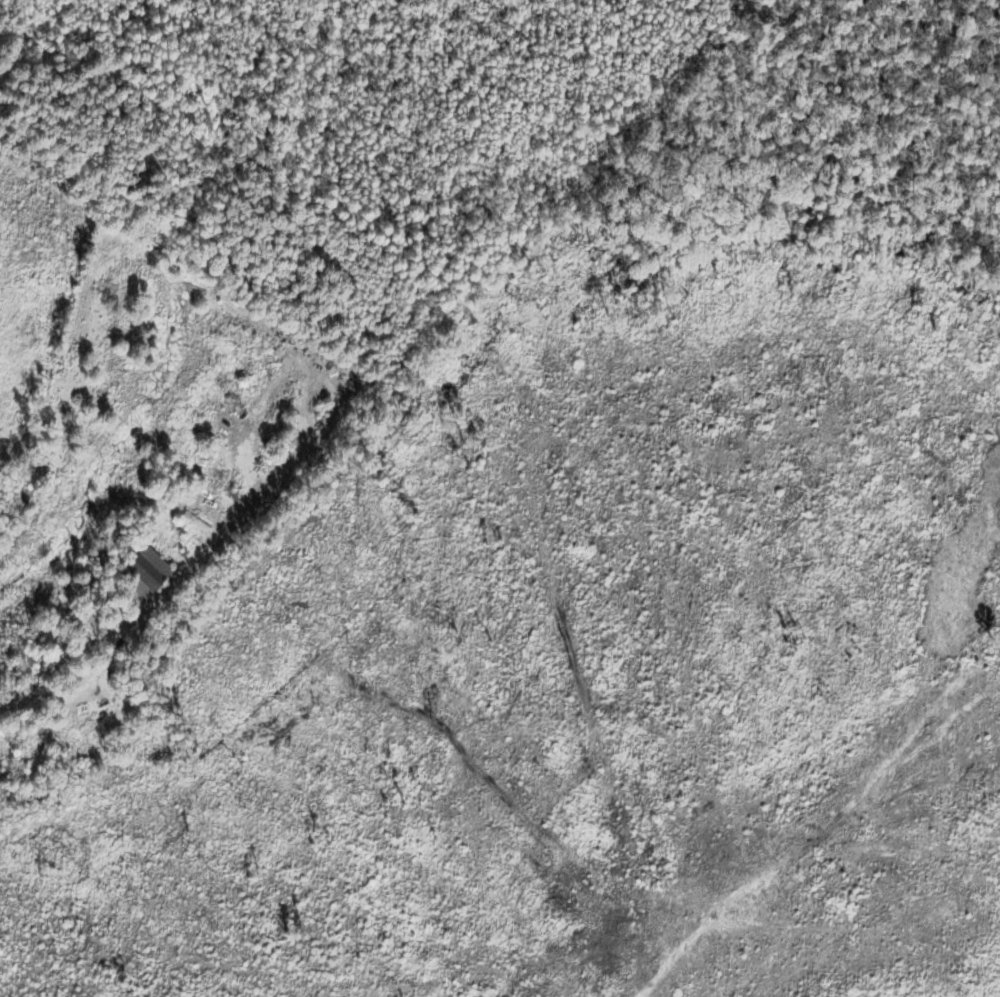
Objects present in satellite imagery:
building: (142, 572)
building: (85, 625)

